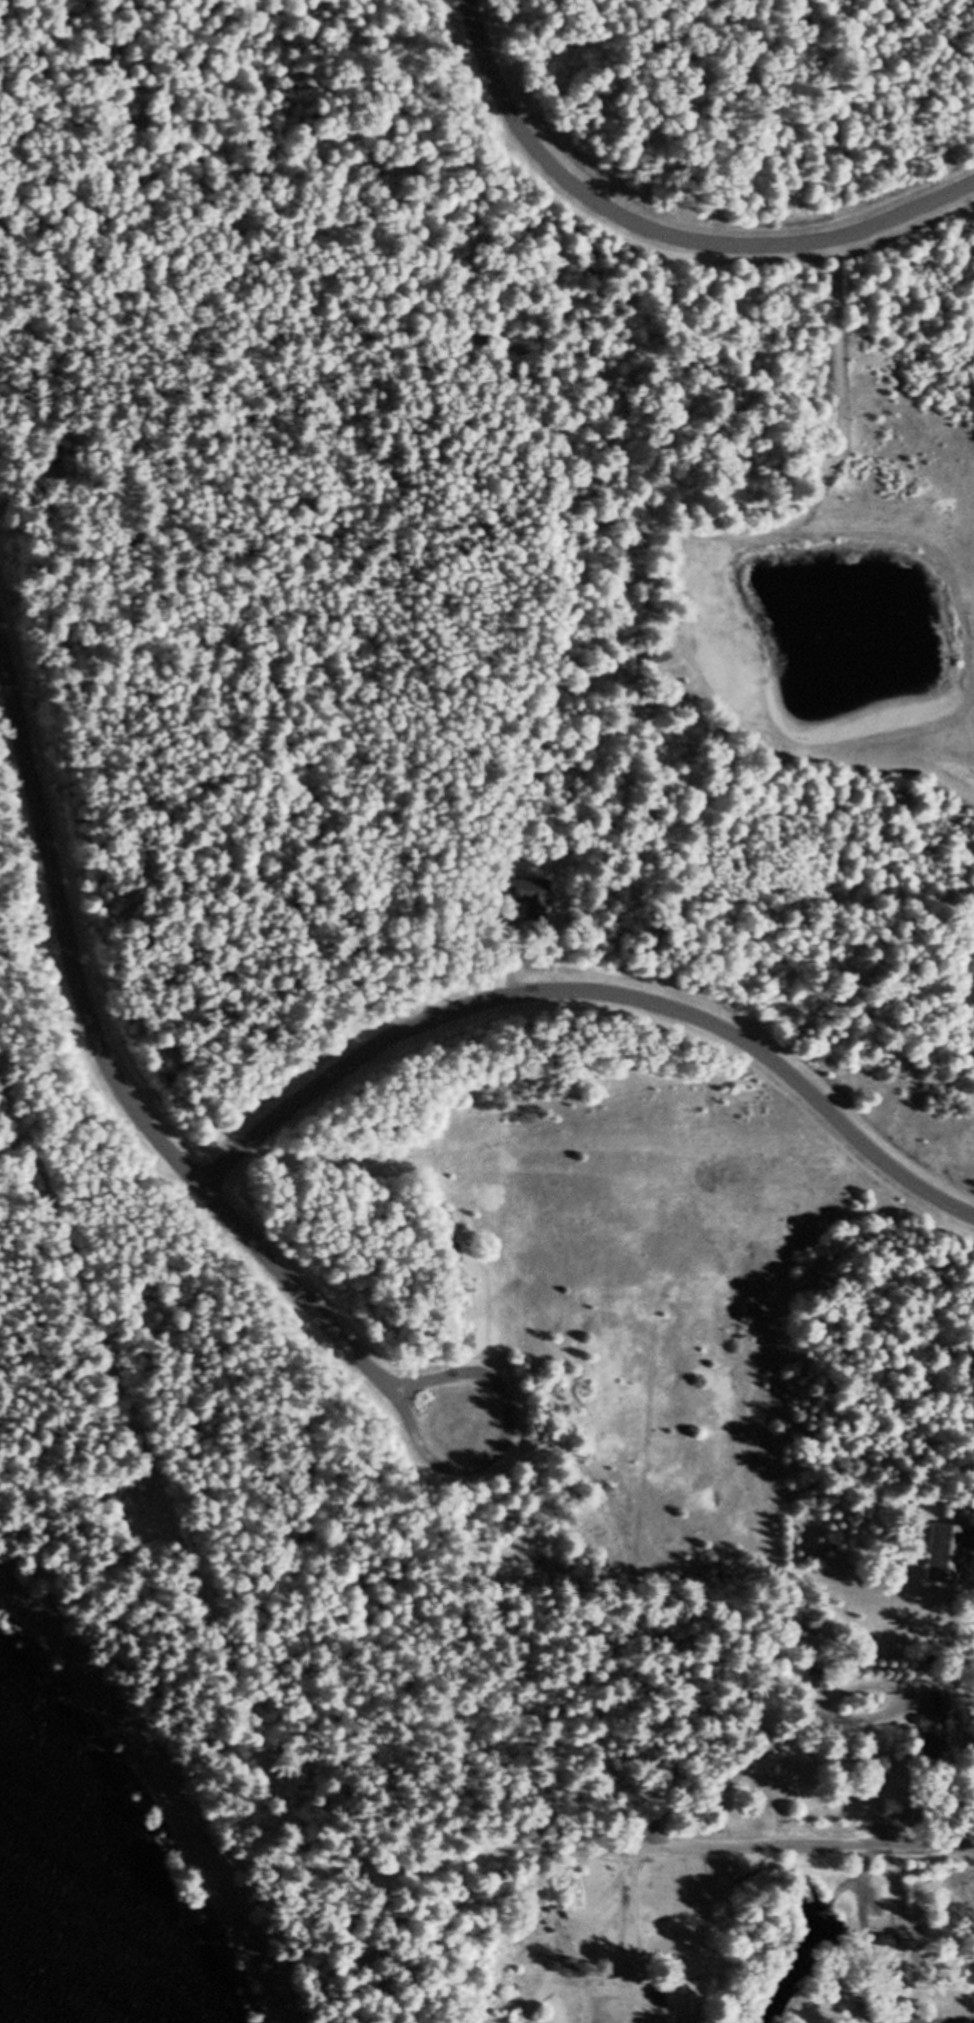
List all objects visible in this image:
road: (660, 239)
road: (821, 497)
building: (663, 670)
road: (777, 758)
road: (592, 999)
road: (114, 1083)
road: (511, 1447)
building: (949, 1562)
building: (815, 1683)
road: (786, 1732)
building: (936, 1733)
road: (738, 1854)
road: (865, 1881)
parking lot: (879, 1911)
road: (866, 1917)
road: (633, 1930)
building: (890, 1948)
parking lot: (629, 2007)

